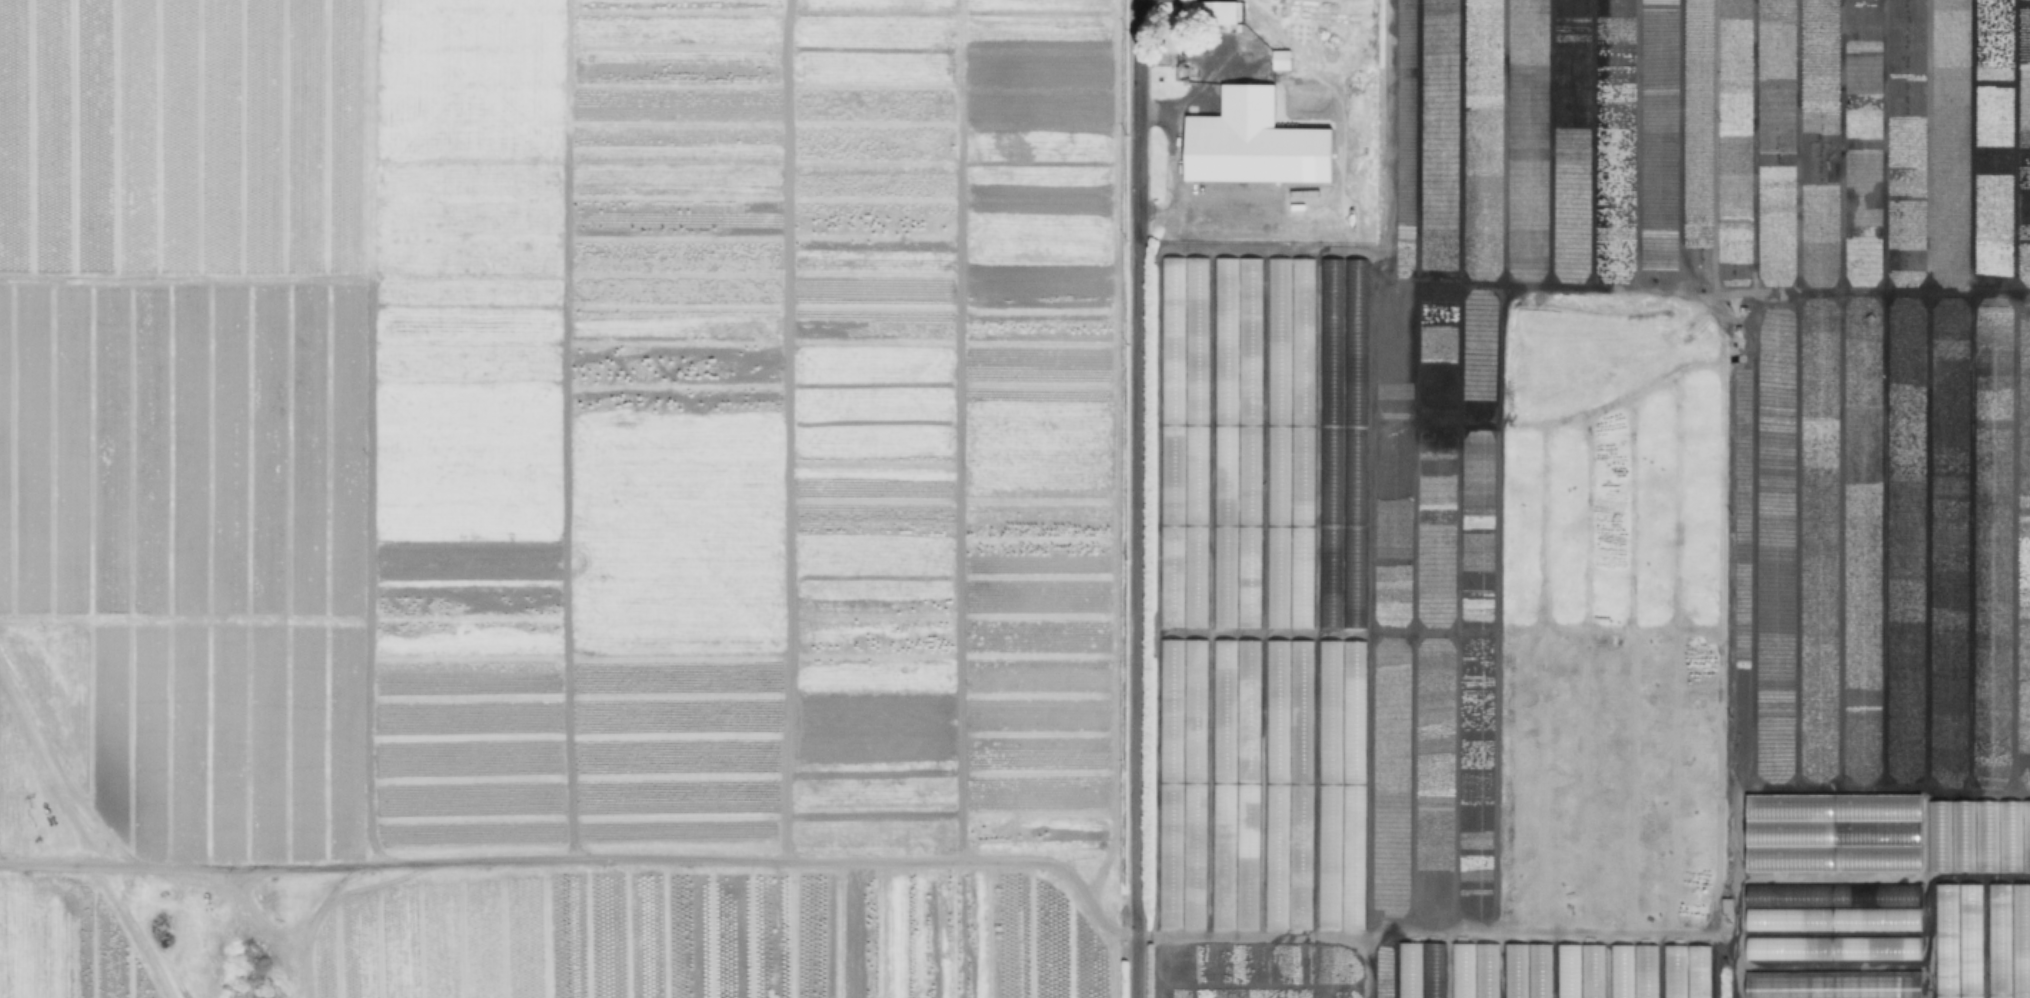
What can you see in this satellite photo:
building: (1215, 13)
building: (1283, 59)
building: (1255, 144)
building: (1225, 295)
building: (1341, 358)
road: (1137, 499)
road: (381, 583)
building: (1236, 585)
building: (1339, 588)
building: (1222, 651)
building: (1303, 667)
building: (1354, 675)
building: (1202, 783)
building: (1832, 832)
building: (1978, 835)
building: (1328, 881)
building: (1354, 889)
building: (1832, 894)
building: (1832, 918)
road: (1237, 932)
building: (1944, 940)
building: (1969, 940)
building: (1997, 940)
building: (2020, 940)
building: (1832, 947)
road: (1369, 956)
building: (1420, 969)
building: (1462, 970)
building: (1485, 970)
building: (1527, 970)
building: (1580, 970)
building: (1644, 971)
building: (1674, 971)
building: (1697, 971)
building: (1833, 984)

